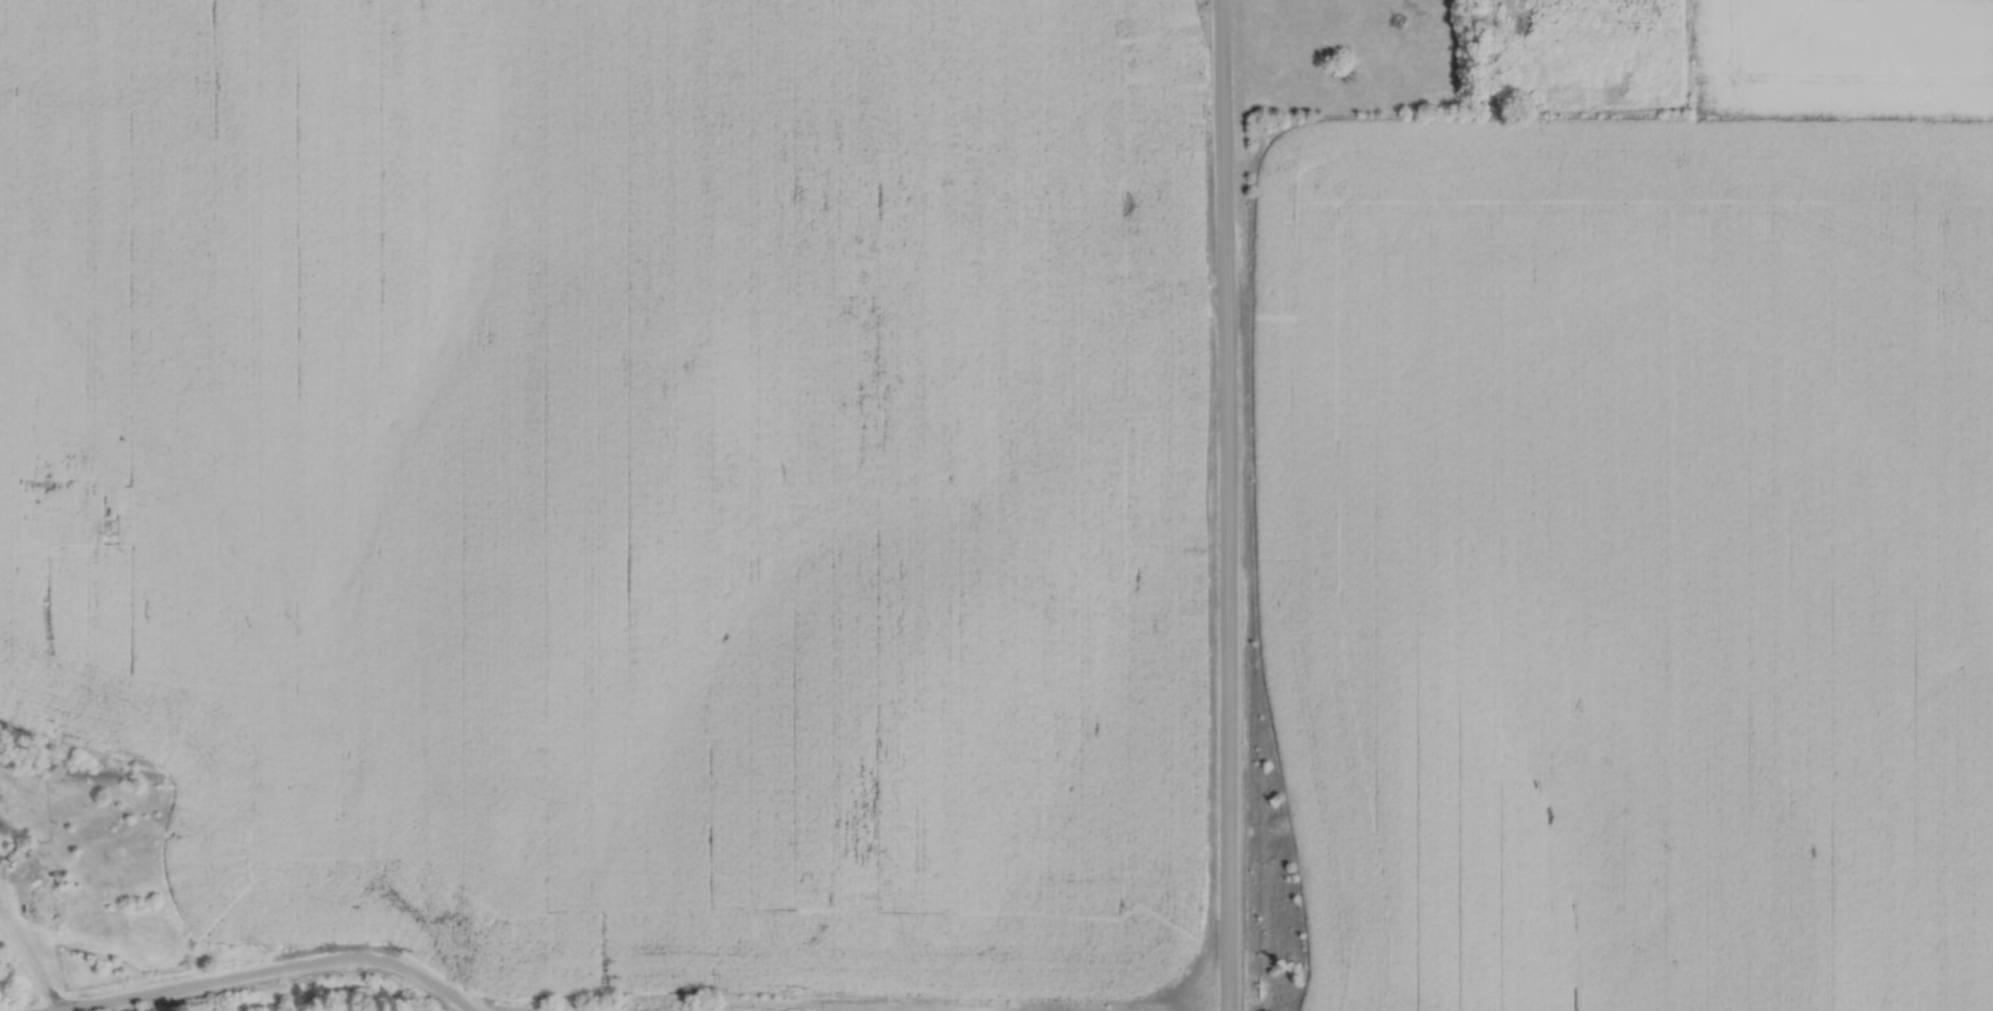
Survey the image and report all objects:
road: (1226, 505)
power tower: (110, 534)
power tower: (269, 950)
road: (33, 960)
road: (278, 974)

